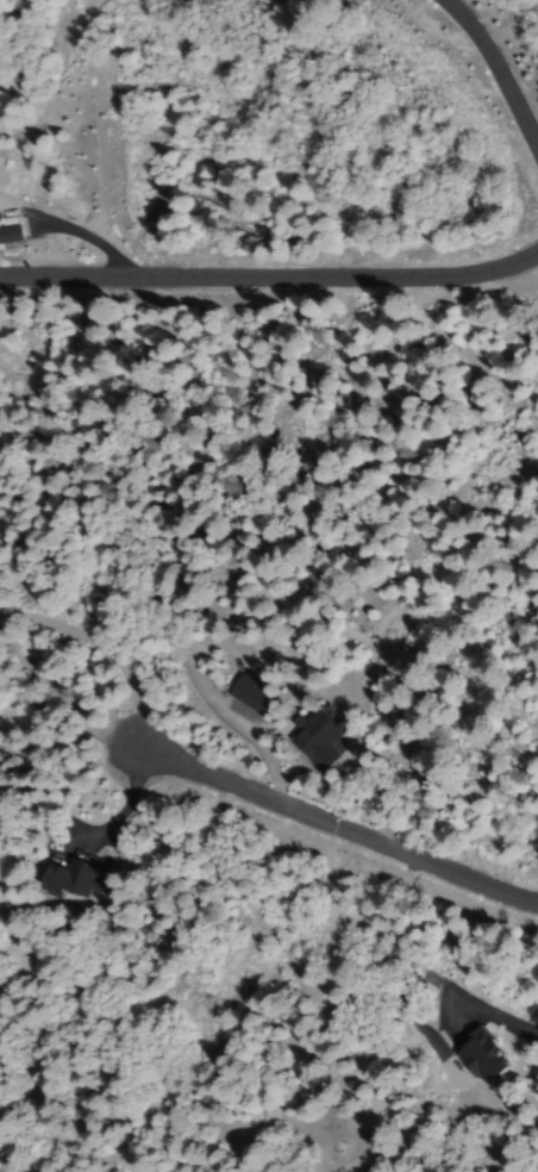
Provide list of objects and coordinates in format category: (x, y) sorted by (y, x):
road: (503, 64)
building: (0, 217)
building: (6, 239)
road: (271, 281)
road: (101, 644)
building: (248, 694)
building: (314, 740)
road: (131, 804)
road: (339, 822)
building: (65, 880)
road: (486, 1008)
building: (482, 1056)

